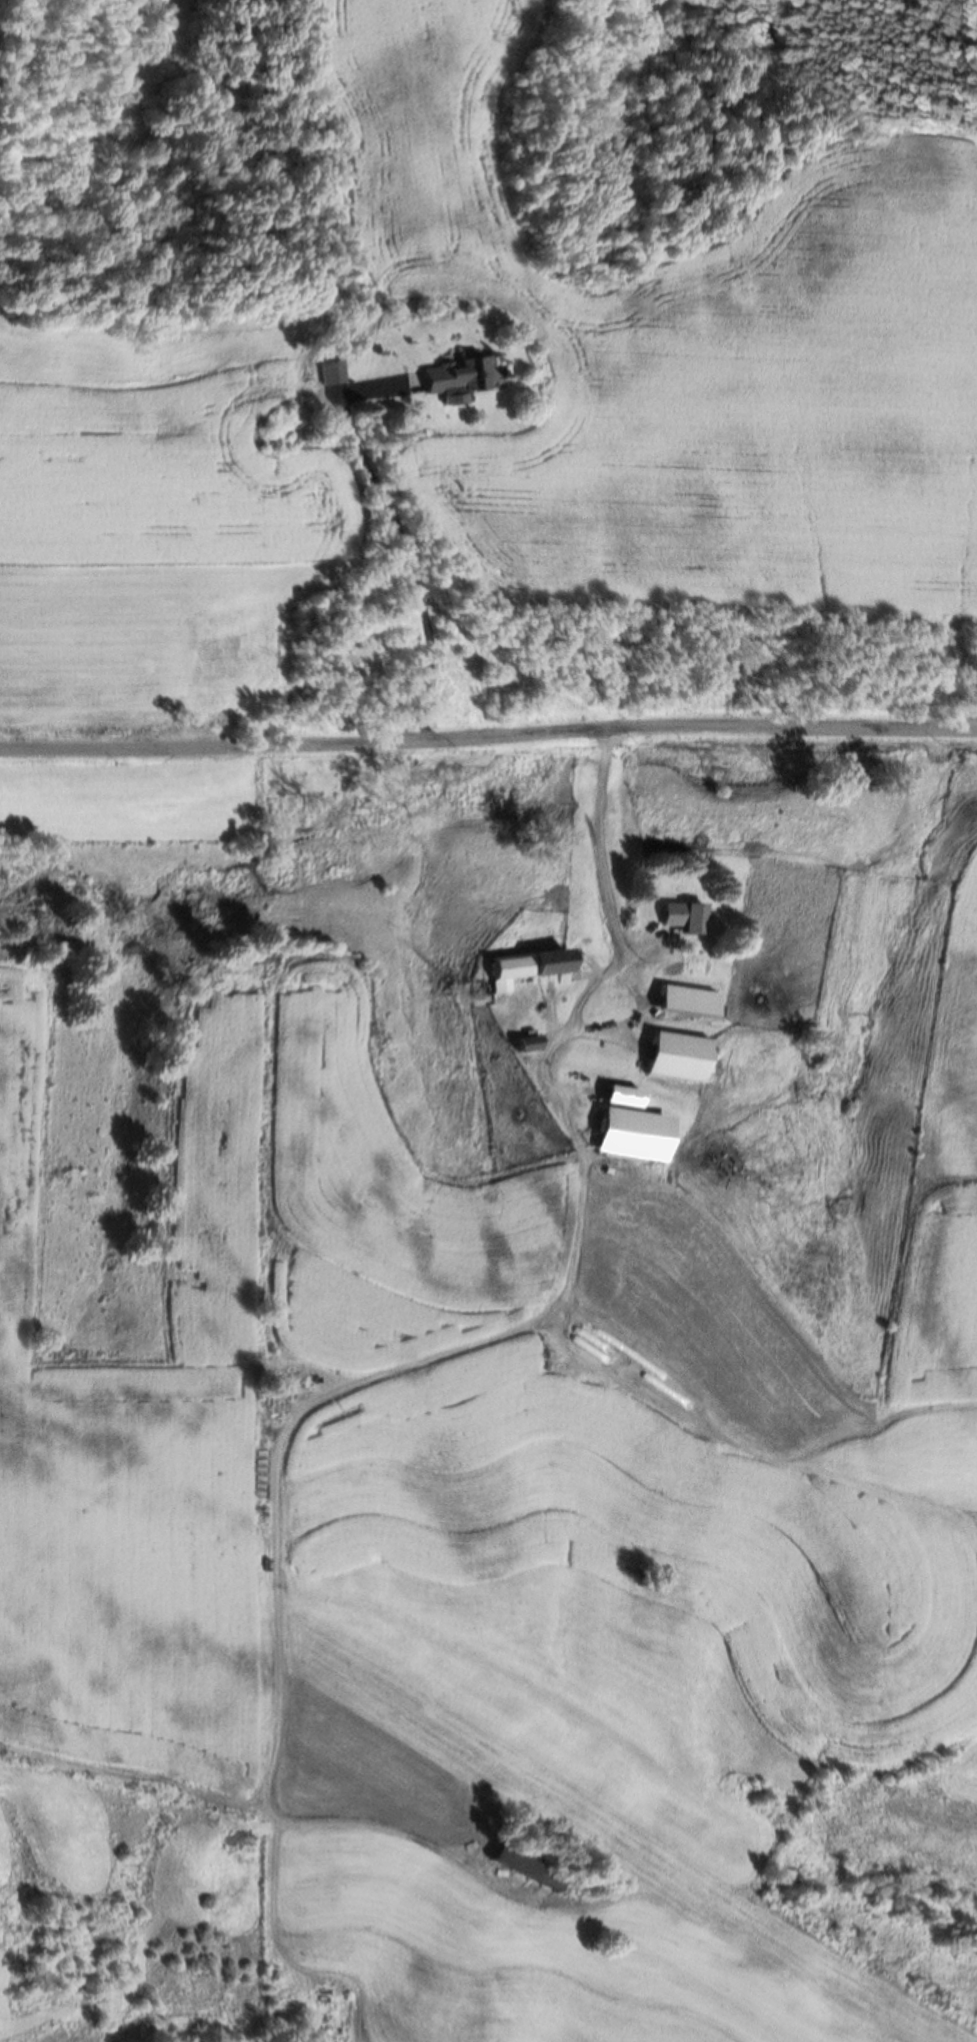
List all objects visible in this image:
building: (452, 376)
road: (400, 541)
building: (349, 667)
road: (488, 736)
building: (681, 917)
building: (523, 965)
building: (683, 1001)
building: (526, 1044)
building: (675, 1056)
building: (626, 1127)
building: (520, 1869)

